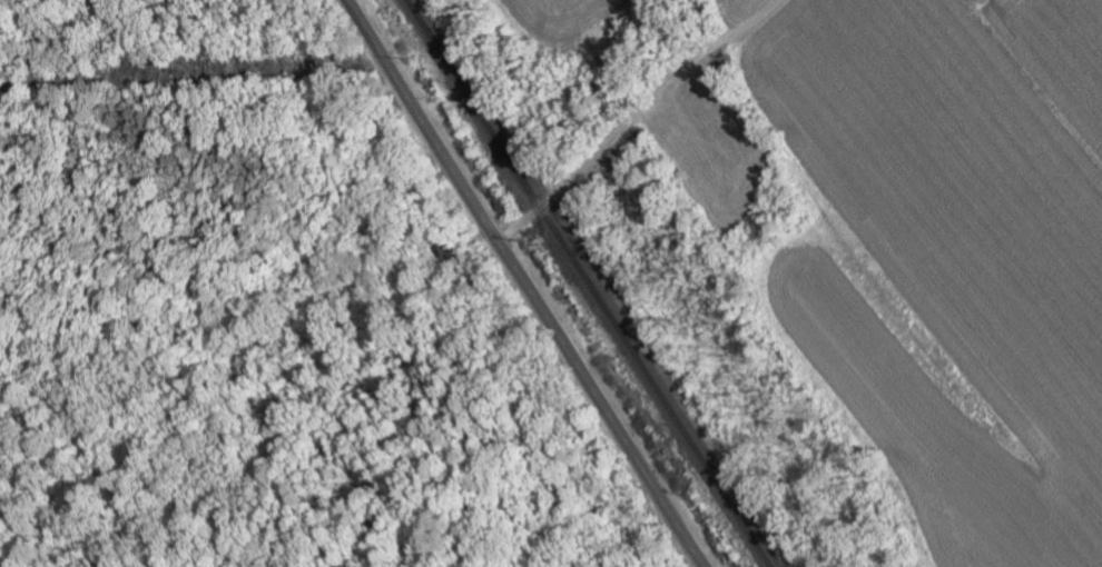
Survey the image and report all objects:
road: (632, 110)
road: (523, 283)
railway: (587, 283)

